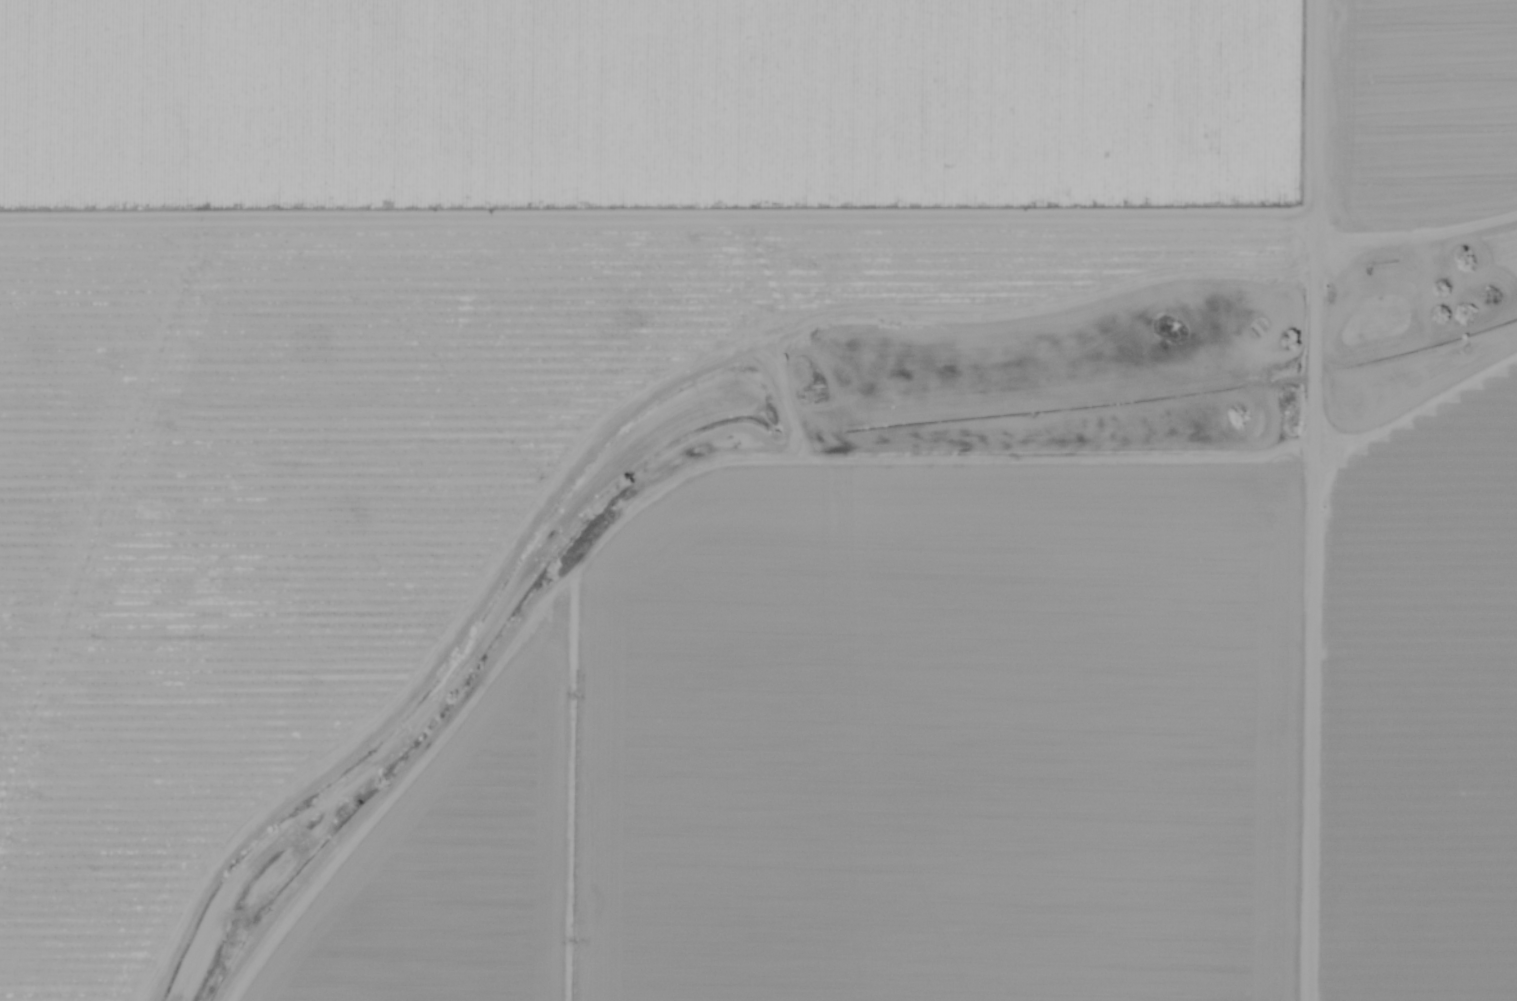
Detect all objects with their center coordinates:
crop: (1420, 105)
crop: (661, 106)
road: (673, 344)
crop: (1419, 605)
crop: (857, 686)

